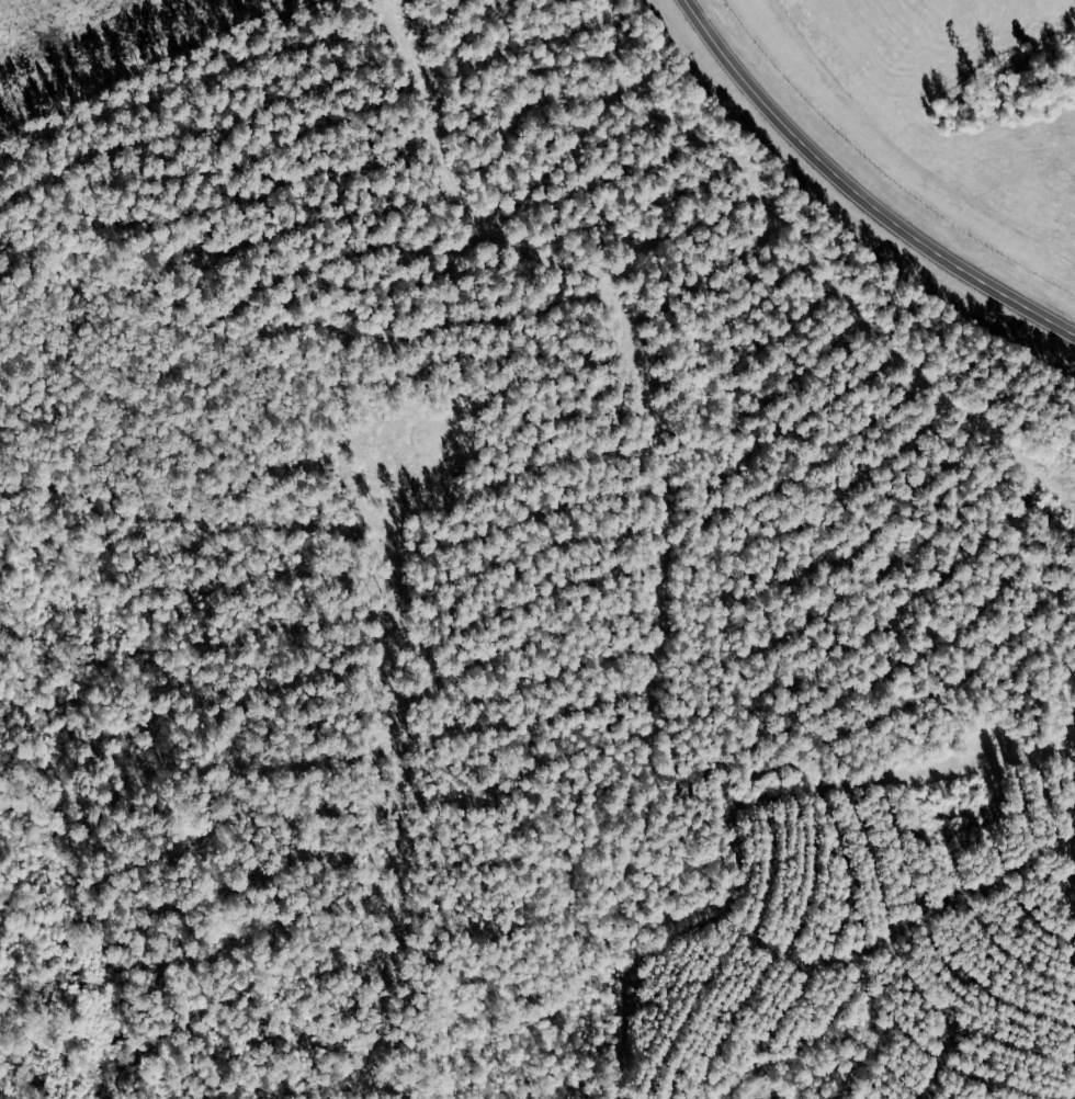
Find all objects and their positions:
road: (858, 193)

